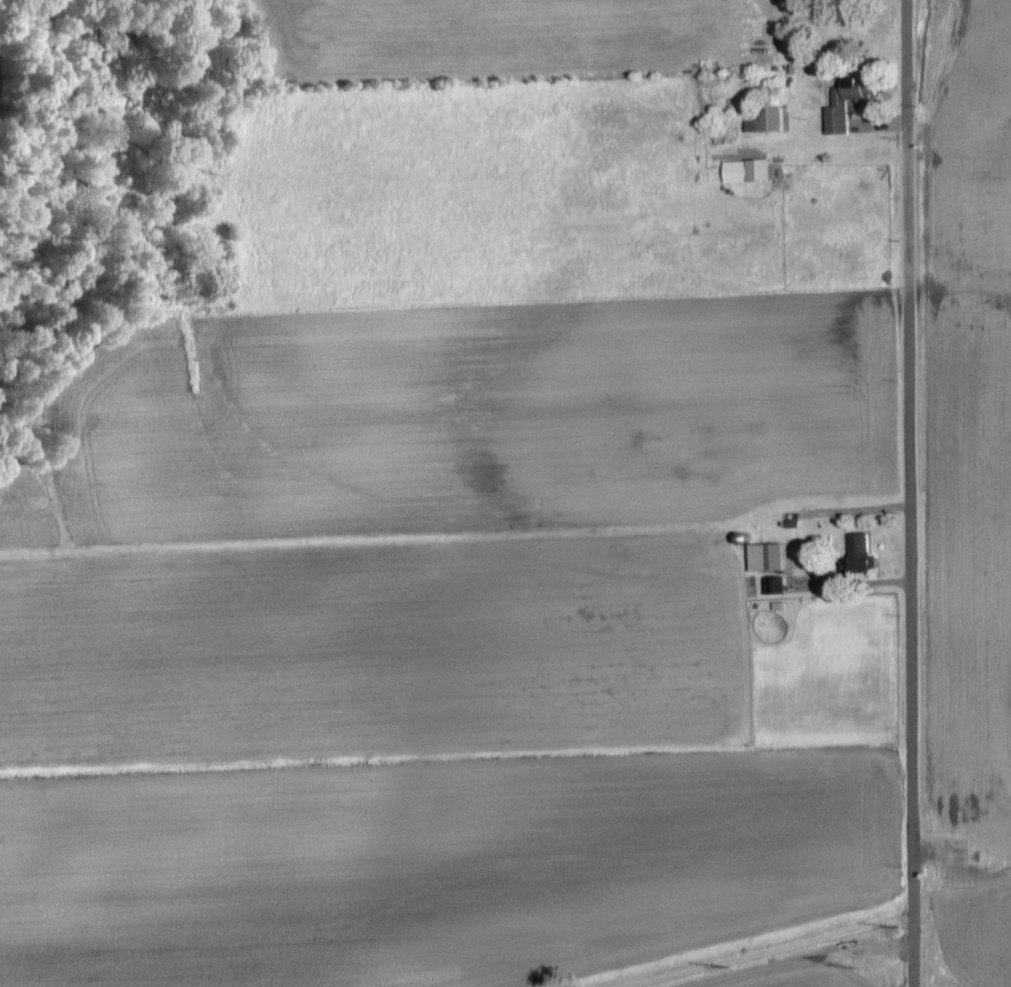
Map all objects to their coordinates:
building: (851, 103)
road: (908, 110)
building: (773, 112)
building: (752, 172)
building: (864, 553)
building: (770, 557)
building: (777, 585)
road: (912, 604)
road: (765, 952)

